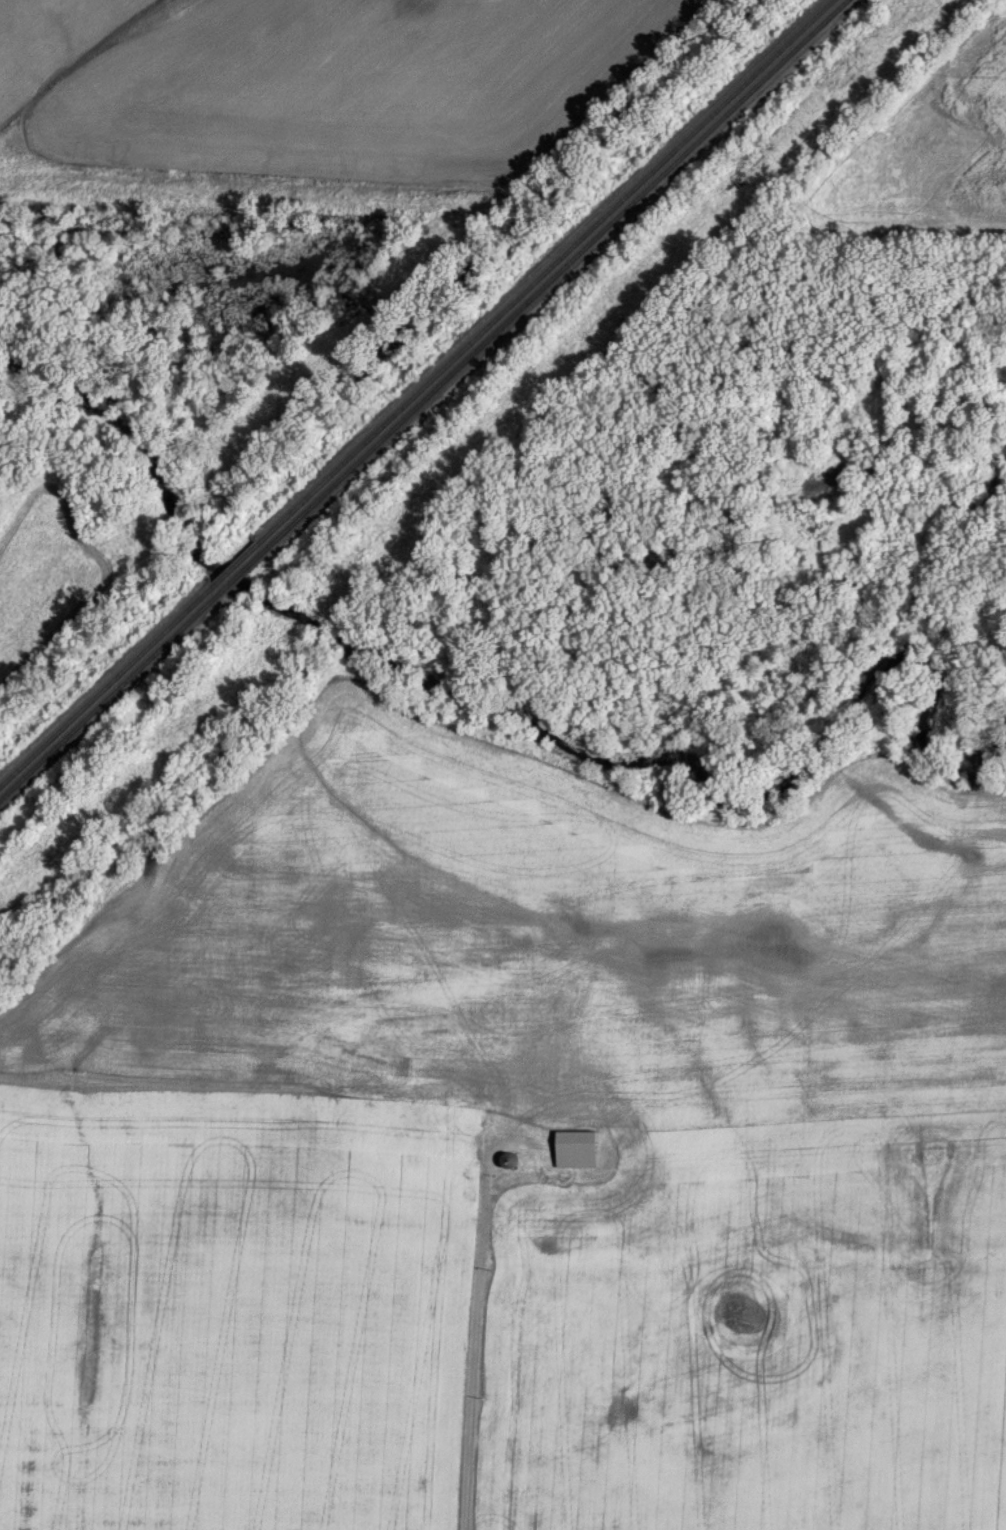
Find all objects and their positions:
railway: (549, 270)
railway: (561, 272)
railway: (237, 564)
railway: (246, 570)
railway: (107, 688)
railway: (109, 701)
building: (578, 1148)
building: (511, 1159)
road: (476, 1330)

